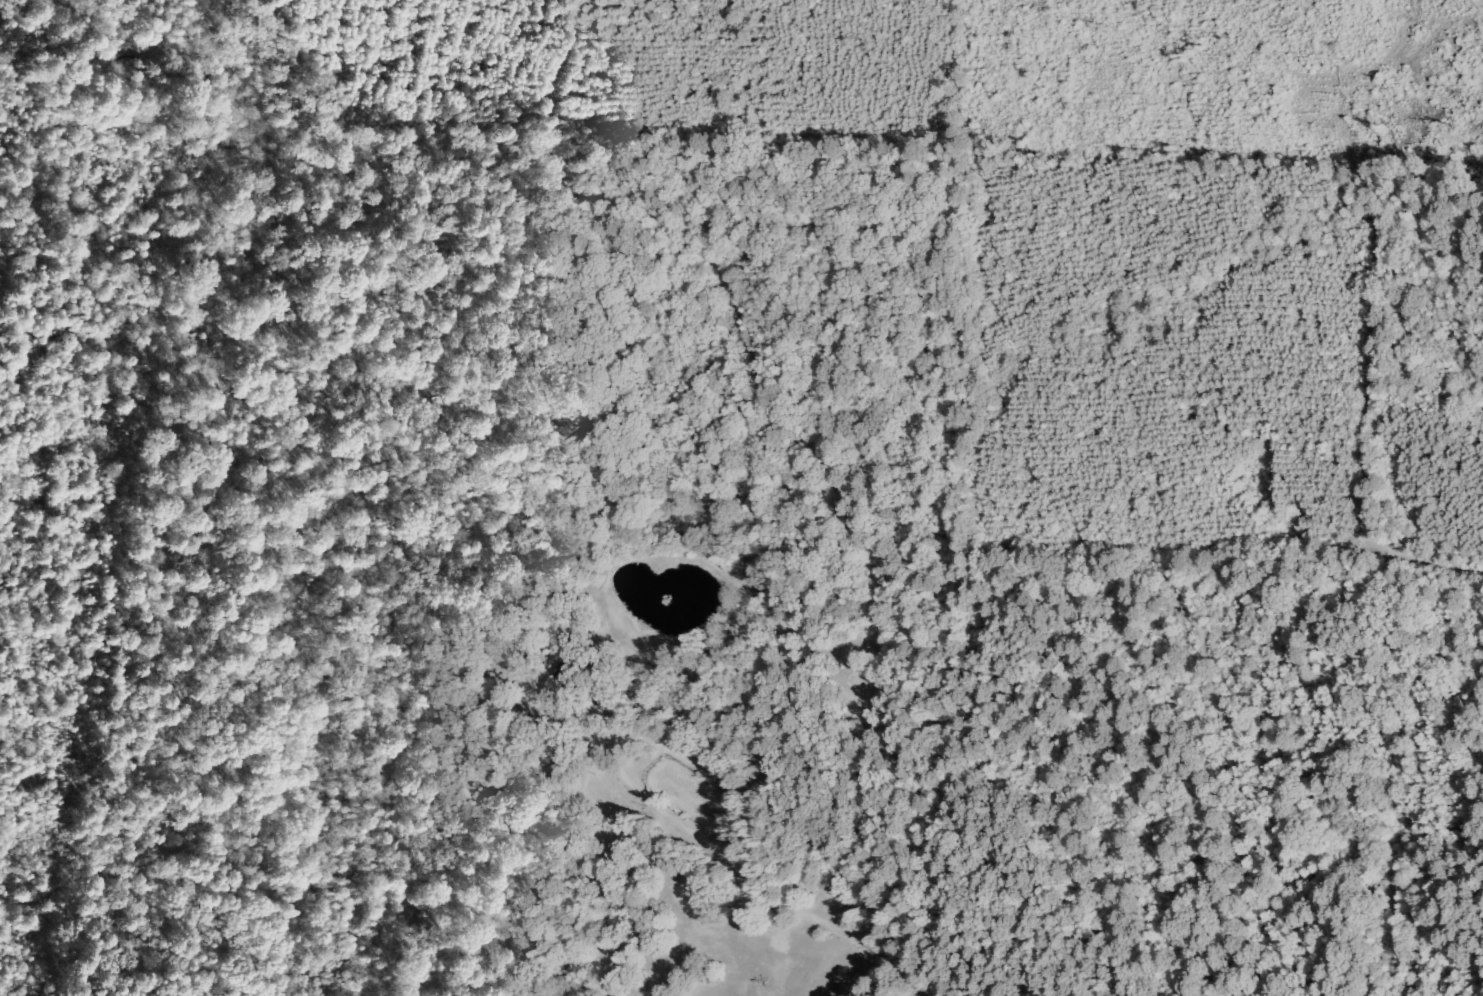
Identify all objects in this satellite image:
road: (804, 733)

